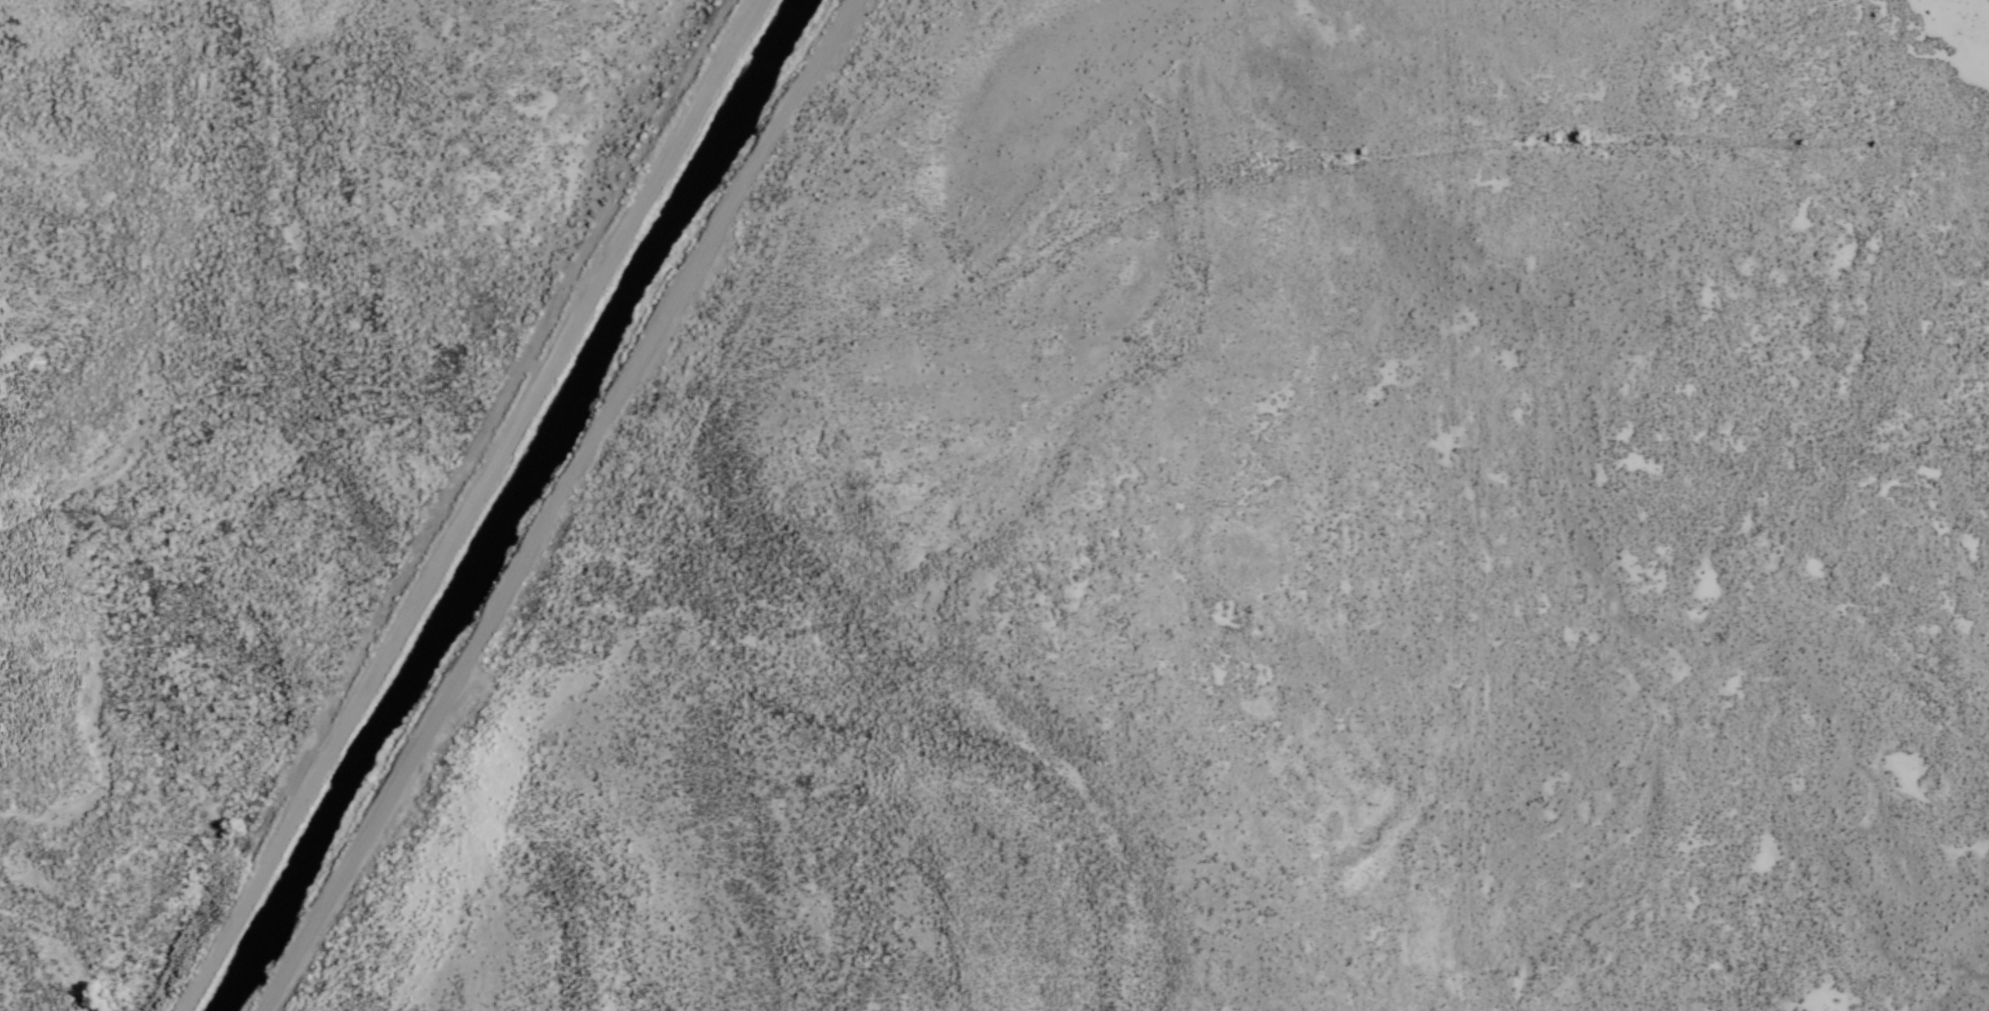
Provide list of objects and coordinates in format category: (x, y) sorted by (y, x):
road: (482, 505)
road: (559, 505)

